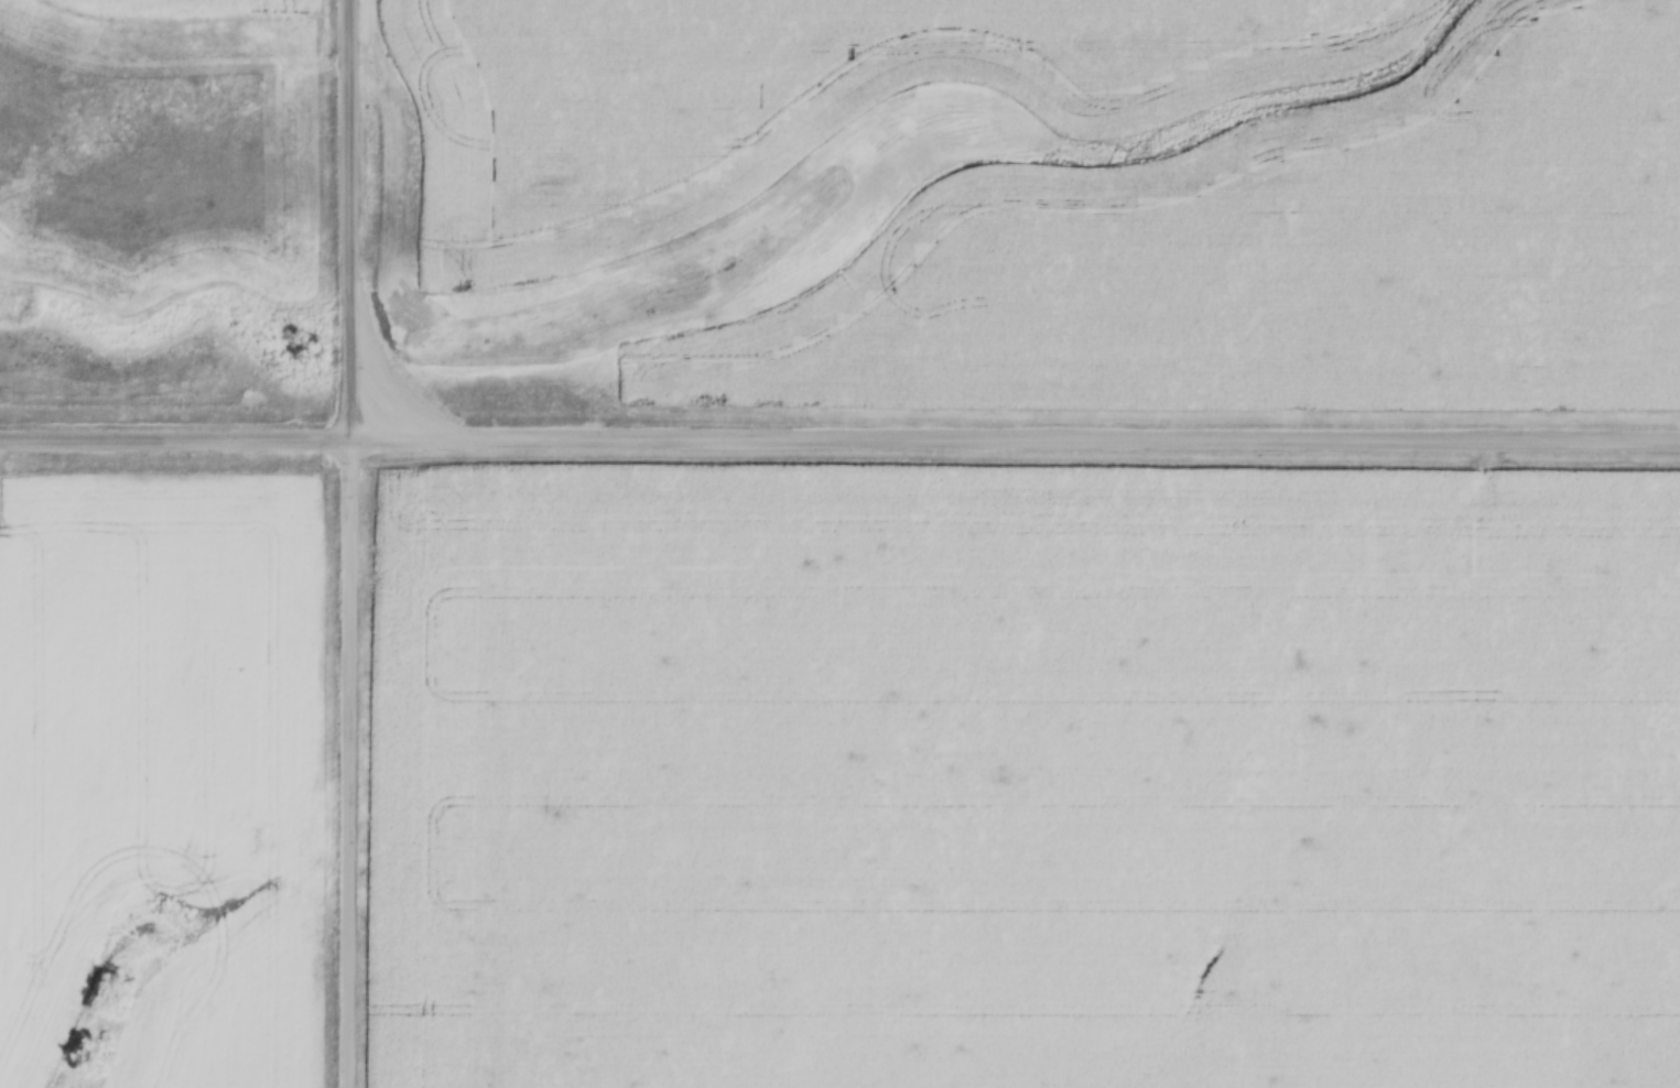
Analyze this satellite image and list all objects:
road: (839, 436)
road: (351, 544)

